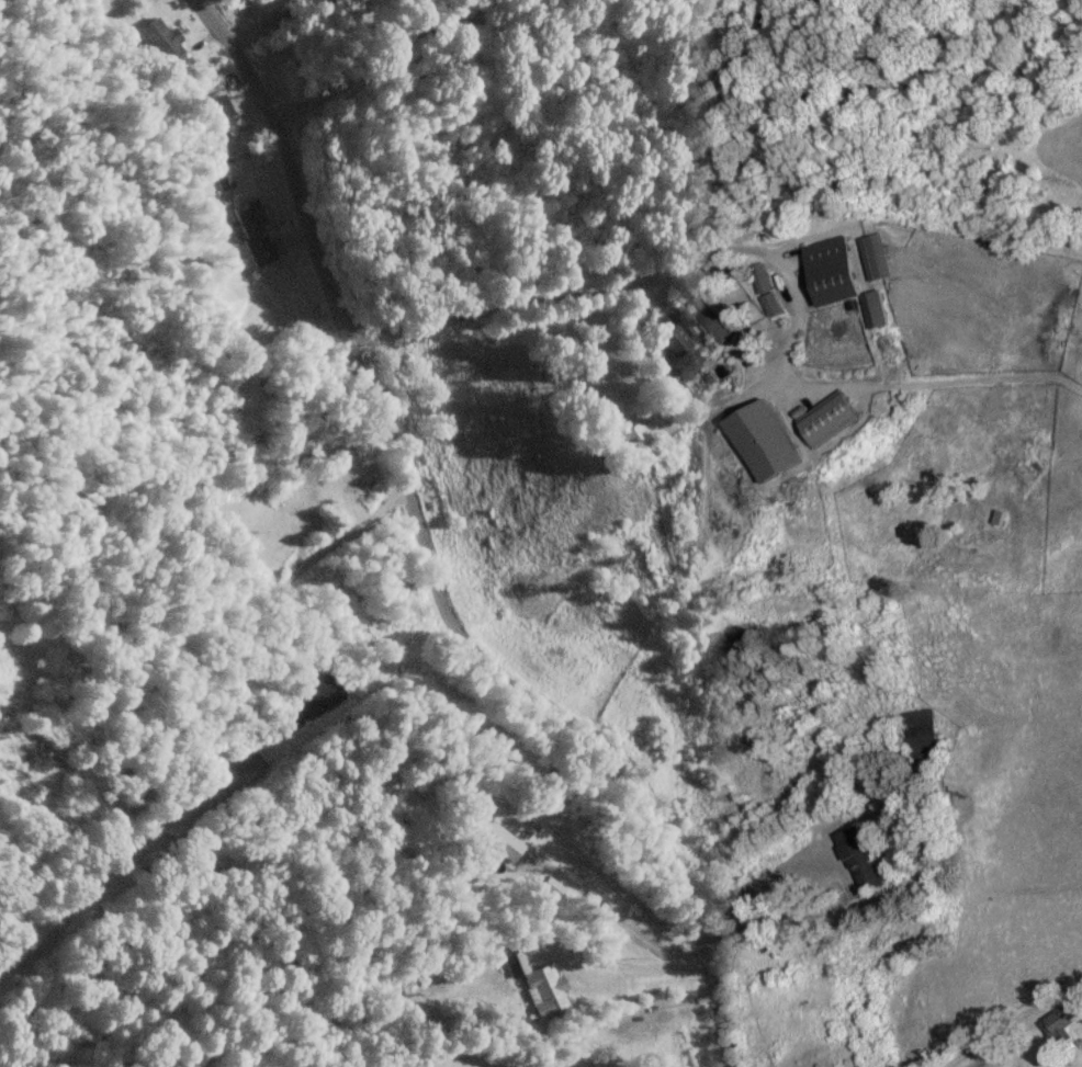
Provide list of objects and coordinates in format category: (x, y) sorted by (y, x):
road: (367, 55)
road: (625, 283)
road: (429, 554)
road: (203, 695)
road: (612, 911)
road: (619, 965)
road: (621, 1013)

